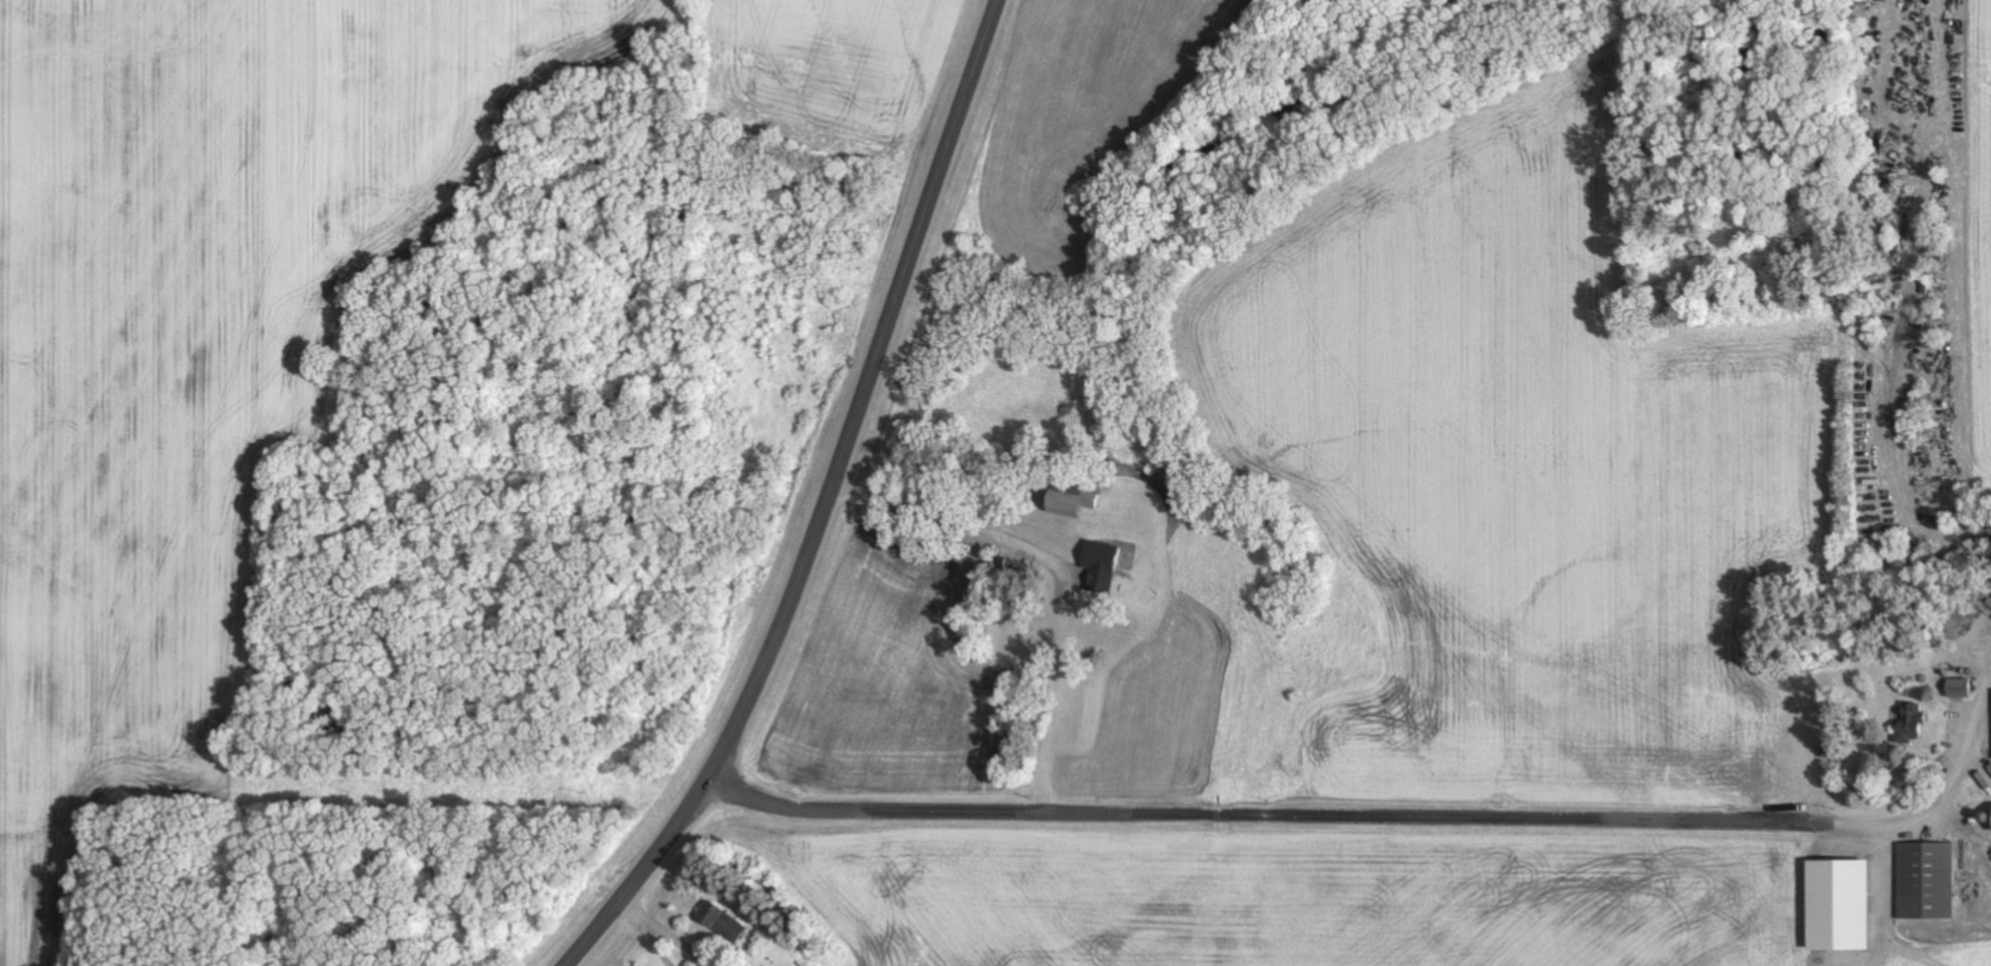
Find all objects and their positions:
building: (1069, 502)
road: (835, 505)
building: (1054, 636)
building: (1954, 689)
building: (1906, 724)
road: (1297, 818)
building: (1989, 820)
building: (1924, 882)
building: (722, 923)

